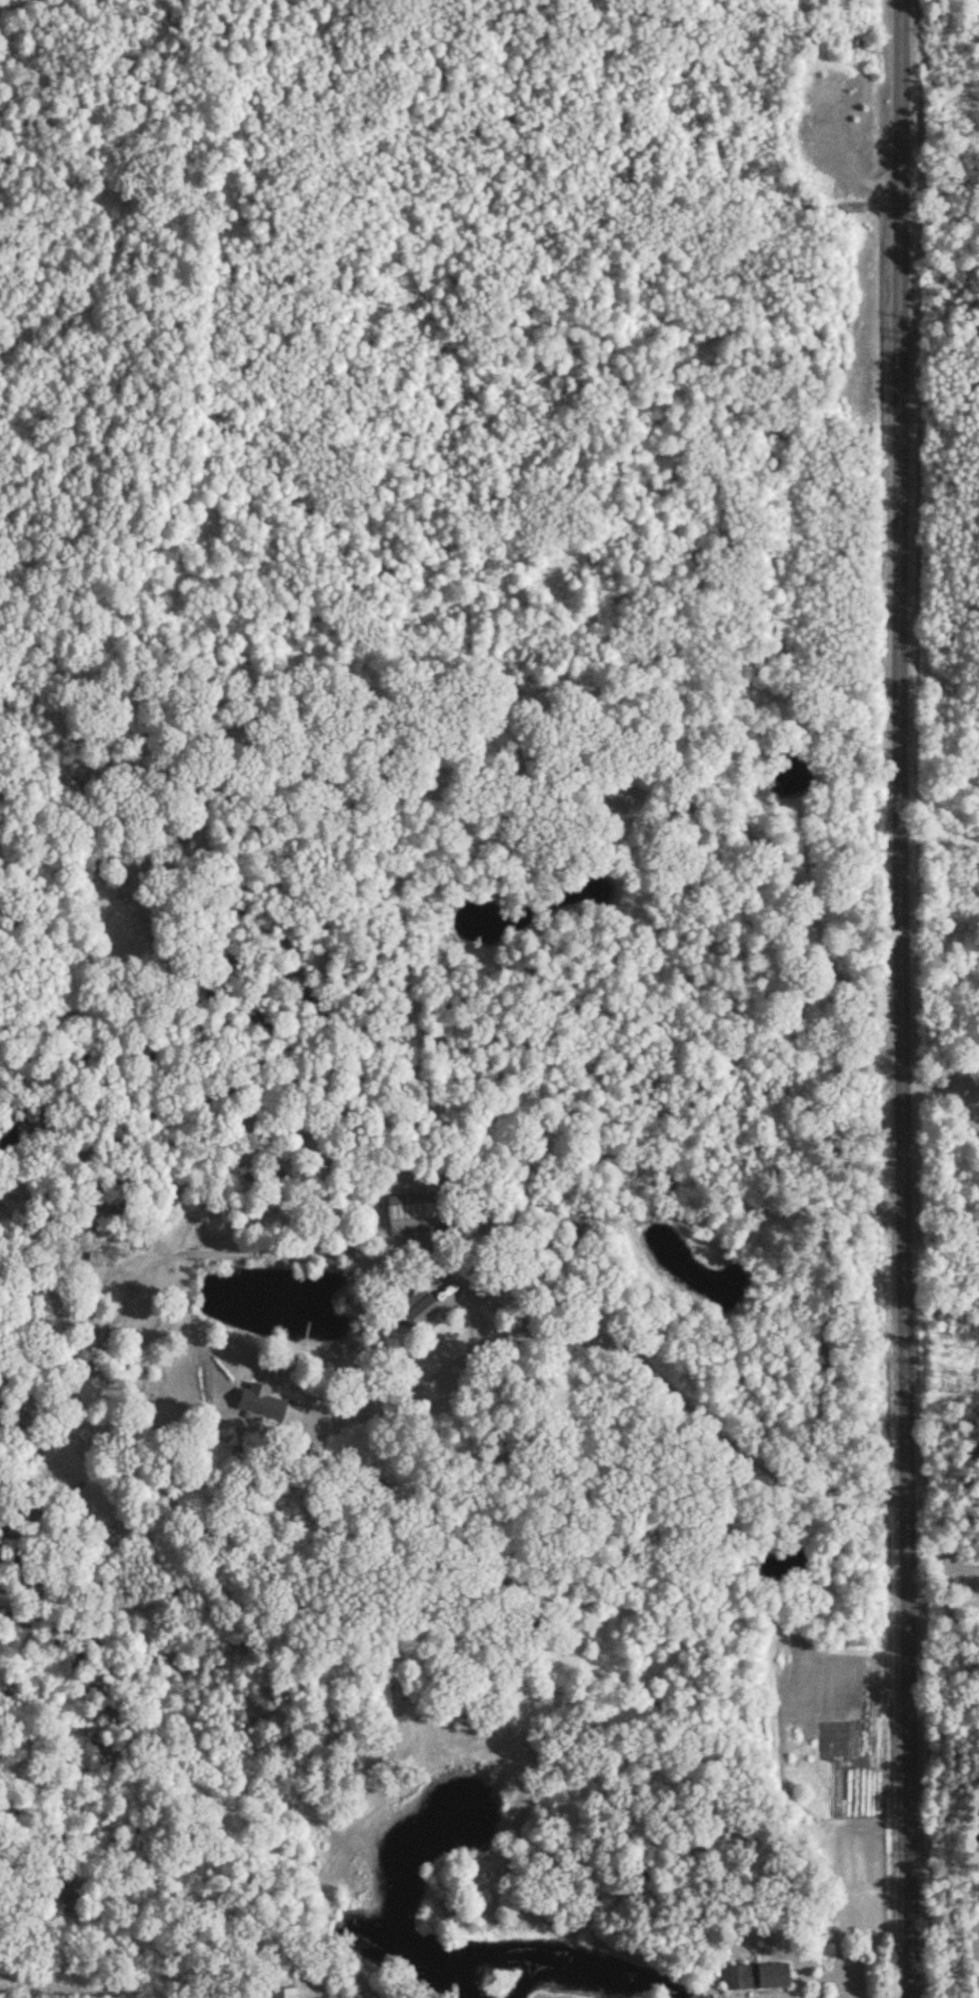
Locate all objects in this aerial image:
road: (900, 999)
building: (410, 1214)
building: (262, 1406)
road: (943, 1599)
building: (753, 1978)
building: (278, 1994)

